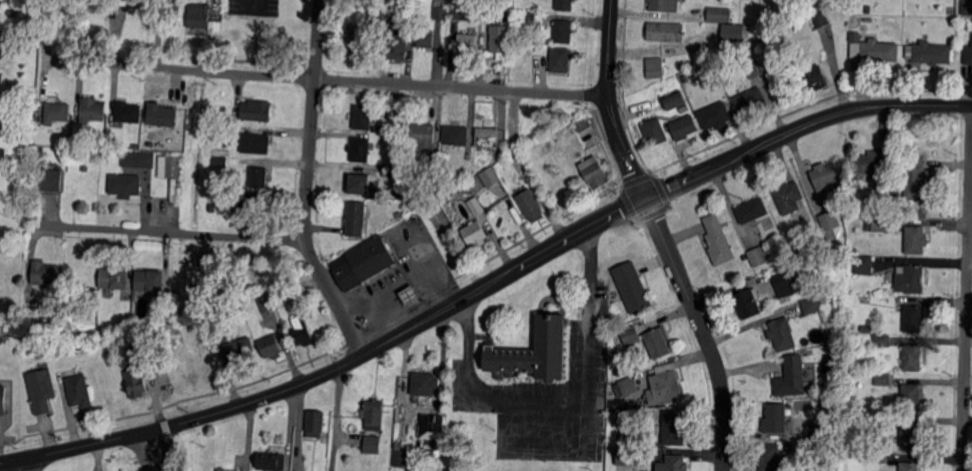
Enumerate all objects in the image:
building: (409, 1)
building: (815, 3)
building: (564, 5)
building: (663, 5)
building: (967, 7)
building: (173, 9)
building: (441, 9)
building: (486, 10)
building: (868, 10)
building: (951, 10)
building: (456, 11)
building: (13, 12)
building: (719, 14)
building: (397, 16)
building: (796, 18)
building: (197, 19)
building: (821, 19)
building: (536, 20)
building: (663, 31)
building: (563, 32)
building: (735, 34)
building: (3, 36)
building: (427, 37)
building: (499, 39)
building: (467, 43)
building: (397, 46)
building: (875, 51)
building: (929, 52)
building: (968, 56)
building: (560, 59)
building: (690, 62)
building: (661, 67)
building: (753, 69)
building: (813, 76)
building: (1, 77)
building: (684, 78)
road: (325, 79)
road: (609, 100)
building: (674, 100)
building: (751, 101)
building: (254, 110)
building: (91, 111)
building: (56, 112)
building: (127, 112)
building: (159, 114)
building: (9, 115)
building: (362, 116)
building: (715, 116)
building: (683, 127)
building: (588, 131)
building: (654, 132)
building: (424, 135)
building: (455, 135)
building: (486, 137)
building: (66, 139)
building: (98, 141)
building: (255, 143)
building: (359, 149)
building: (39, 150)
building: (106, 153)
building: (3, 154)
building: (86, 154)
building: (73, 156)
building: (402, 156)
building: (138, 158)
building: (477, 159)
building: (220, 161)
building: (870, 163)
building: (522, 164)
building: (171, 166)
building: (85, 168)
building: (593, 170)
building: (390, 171)
building: (433, 173)
building: (466, 174)
building: (258, 176)
building: (489, 177)
building: (825, 177)
building: (916, 178)
building: (50, 180)
road: (308, 182)
building: (125, 185)
building: (359, 185)
building: (885, 195)
traffic signals: (644, 196)
building: (789, 197)
building: (896, 199)
building: (252, 200)
building: (530, 205)
building: (475, 207)
building: (212, 208)
building: (752, 210)
building: (398, 214)
building: (211, 217)
building: (355, 218)
building: (768, 223)
building: (830, 223)
building: (880, 224)
road: (67, 225)
building: (857, 229)
road: (201, 234)
building: (475, 234)
building: (916, 239)
building: (718, 240)
building: (11, 241)
building: (760, 255)
building: (361, 262)
gas station: (366, 263)
building: (864, 264)
building: (45, 273)
building: (114, 278)
building: (911, 278)
building: (149, 279)
road: (488, 281)
building: (786, 283)
building: (631, 287)
road: (966, 287)
building: (289, 293)
building: (411, 295)
building: (748, 303)
building: (265, 304)
building: (812, 305)
building: (160, 312)
building: (913, 318)
building: (126, 322)
building: (109, 326)
road: (702, 329)
building: (866, 329)
building: (301, 332)
building: (782, 334)
building: (138, 338)
building: (648, 340)
building: (882, 340)
building: (270, 347)
building: (238, 350)
building: (533, 352)
building: (913, 357)
building: (792, 376)
building: (882, 379)
building: (137, 383)
building: (425, 383)
building: (667, 383)
building: (629, 386)
building: (39, 390)
building: (77, 390)
parking lot: (548, 394)
building: (658, 396)
building: (910, 396)
road: (549, 400)
building: (1, 401)
building: (634, 417)
building: (776, 417)
building: (882, 421)
building: (315, 423)
building: (373, 425)
building: (433, 428)
building: (819, 428)
building: (673, 430)
building: (911, 435)
road: (562, 443)
road: (153, 450)
building: (627, 455)
building: (643, 456)
building: (769, 457)
building: (880, 457)
building: (400, 458)
building: (271, 460)
road: (30, 463)
building: (677, 463)
building: (909, 466)
building: (224, 470)

